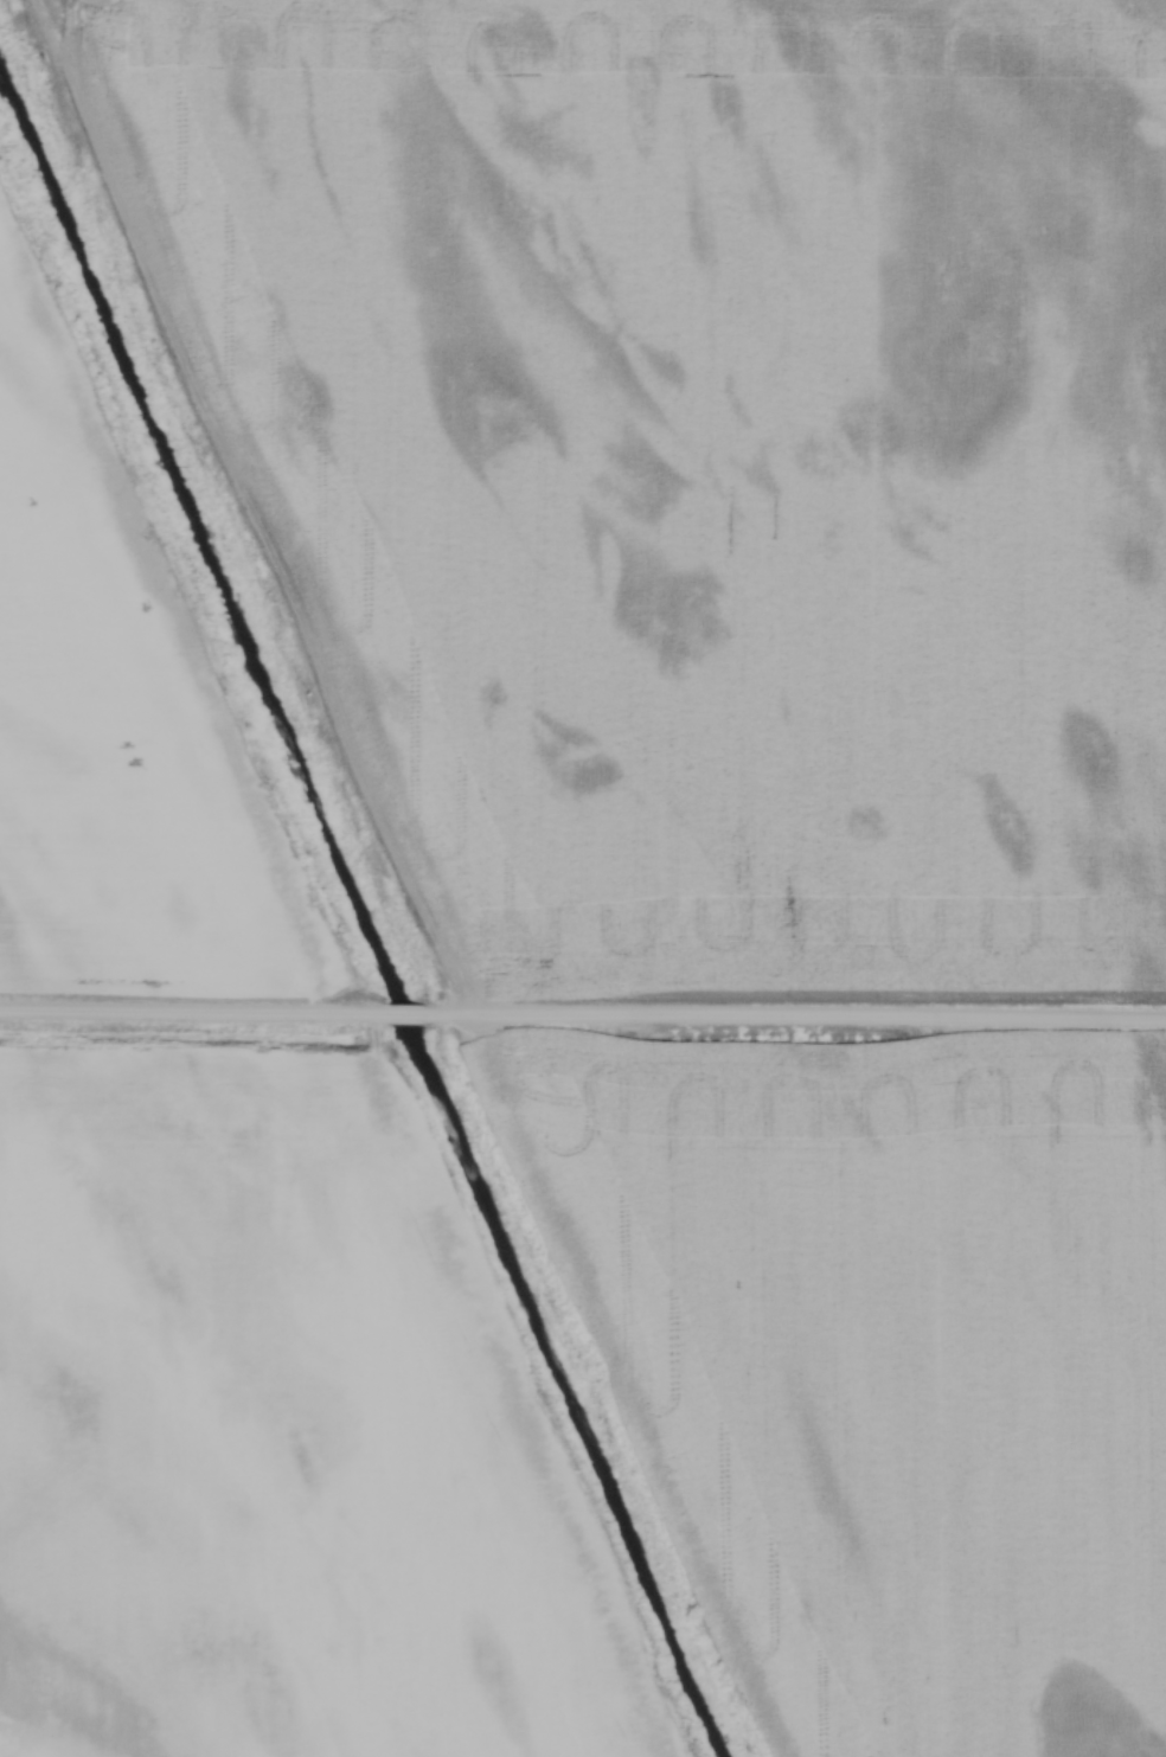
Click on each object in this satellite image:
road: (241, 504)
road: (192, 1009)
road: (403, 1011)
road: (793, 1015)

